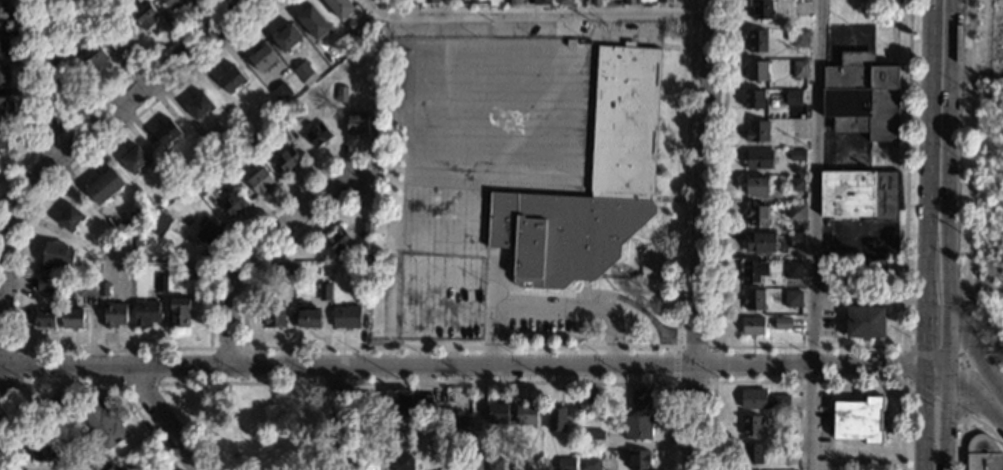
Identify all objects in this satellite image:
building: (663, 1)
building: (413, 2)
building: (429, 2)
building: (513, 2)
building: (528, 2)
building: (541, 2)
building: (564, 2)
building: (595, 2)
building: (628, 2)
building: (171, 3)
road: (267, 3)
building: (339, 7)
building: (760, 11)
building: (4, 14)
road: (537, 14)
building: (146, 16)
building: (314, 22)
building: (354, 32)
building: (119, 36)
building: (286, 37)
building: (797, 38)
building: (83, 41)
building: (756, 42)
building: (3, 47)
road: (676, 47)
building: (262, 57)
building: (95, 59)
building: (799, 70)
building: (755, 72)
building: (304, 74)
building: (3, 76)
road: (147, 80)
building: (232, 80)
building: (281, 93)
building: (341, 94)
building: (860, 97)
building: (794, 99)
building: (754, 100)
road: (31, 103)
road: (94, 105)
building: (198, 106)
building: (4, 107)
building: (793, 110)
building: (283, 120)
building: (625, 120)
building: (356, 124)
building: (756, 132)
building: (166, 133)
building: (318, 135)
building: (3, 139)
building: (254, 142)
road: (48, 143)
road: (388, 155)
building: (797, 156)
building: (134, 160)
building: (287, 160)
building: (757, 160)
building: (231, 161)
building: (259, 181)
road: (33, 183)
building: (795, 185)
building: (104, 186)
building: (177, 187)
building: (201, 187)
road: (938, 187)
building: (755, 188)
road: (968, 188)
building: (861, 195)
road: (666, 199)
building: (233, 204)
building: (795, 213)
building: (755, 217)
building: (70, 219)
building: (162, 221)
building: (363, 229)
building: (207, 233)
road: (701, 234)
road: (813, 235)
building: (338, 240)
building: (795, 242)
building: (759, 243)
road: (255, 252)
building: (58, 256)
building: (830, 265)
building: (283, 267)
building: (186, 270)
building: (753, 271)
building: (792, 271)
building: (873, 271)
building: (43, 284)
building: (161, 284)
building: (87, 287)
road: (583, 288)
building: (103, 289)
building: (323, 292)
building: (360, 293)
road: (601, 295)
building: (793, 299)
building: (752, 300)
road: (382, 305)
road: (552, 306)
building: (146, 313)
building: (178, 313)
building: (71, 316)
building: (114, 316)
building: (273, 316)
building: (306, 316)
building: (346, 317)
building: (43, 318)
building: (864, 323)
building: (782, 325)
building: (751, 328)
road: (963, 330)
road: (805, 347)
road: (529, 348)
road: (20, 349)
road: (227, 349)
road: (711, 350)
road: (974, 351)
road: (469, 364)
road: (901, 364)
road: (16, 366)
road: (0, 367)
road: (0, 375)
road: (354, 380)
road: (511, 382)
road: (806, 382)
road: (75, 384)
road: (119, 384)
road: (241, 384)
road: (962, 393)
road: (968, 395)
building: (639, 400)
building: (761, 400)
building: (405, 401)
building: (584, 405)
building: (65, 409)
building: (497, 414)
building: (525, 414)
park: (254, 415)
road: (346, 416)
road: (964, 416)
road: (479, 417)
road: (164, 419)
building: (555, 419)
building: (458, 421)
building: (858, 421)
road: (934, 423)
building: (101, 425)
building: (396, 426)
building: (750, 426)
building: (637, 428)
building: (592, 440)
building: (787, 449)
building: (47, 453)
building: (983, 454)
building: (751, 455)
building: (400, 461)
building: (637, 461)
building: (493, 464)
building: (588, 464)
building: (565, 465)
building: (108, 467)
building: (464, 469)

